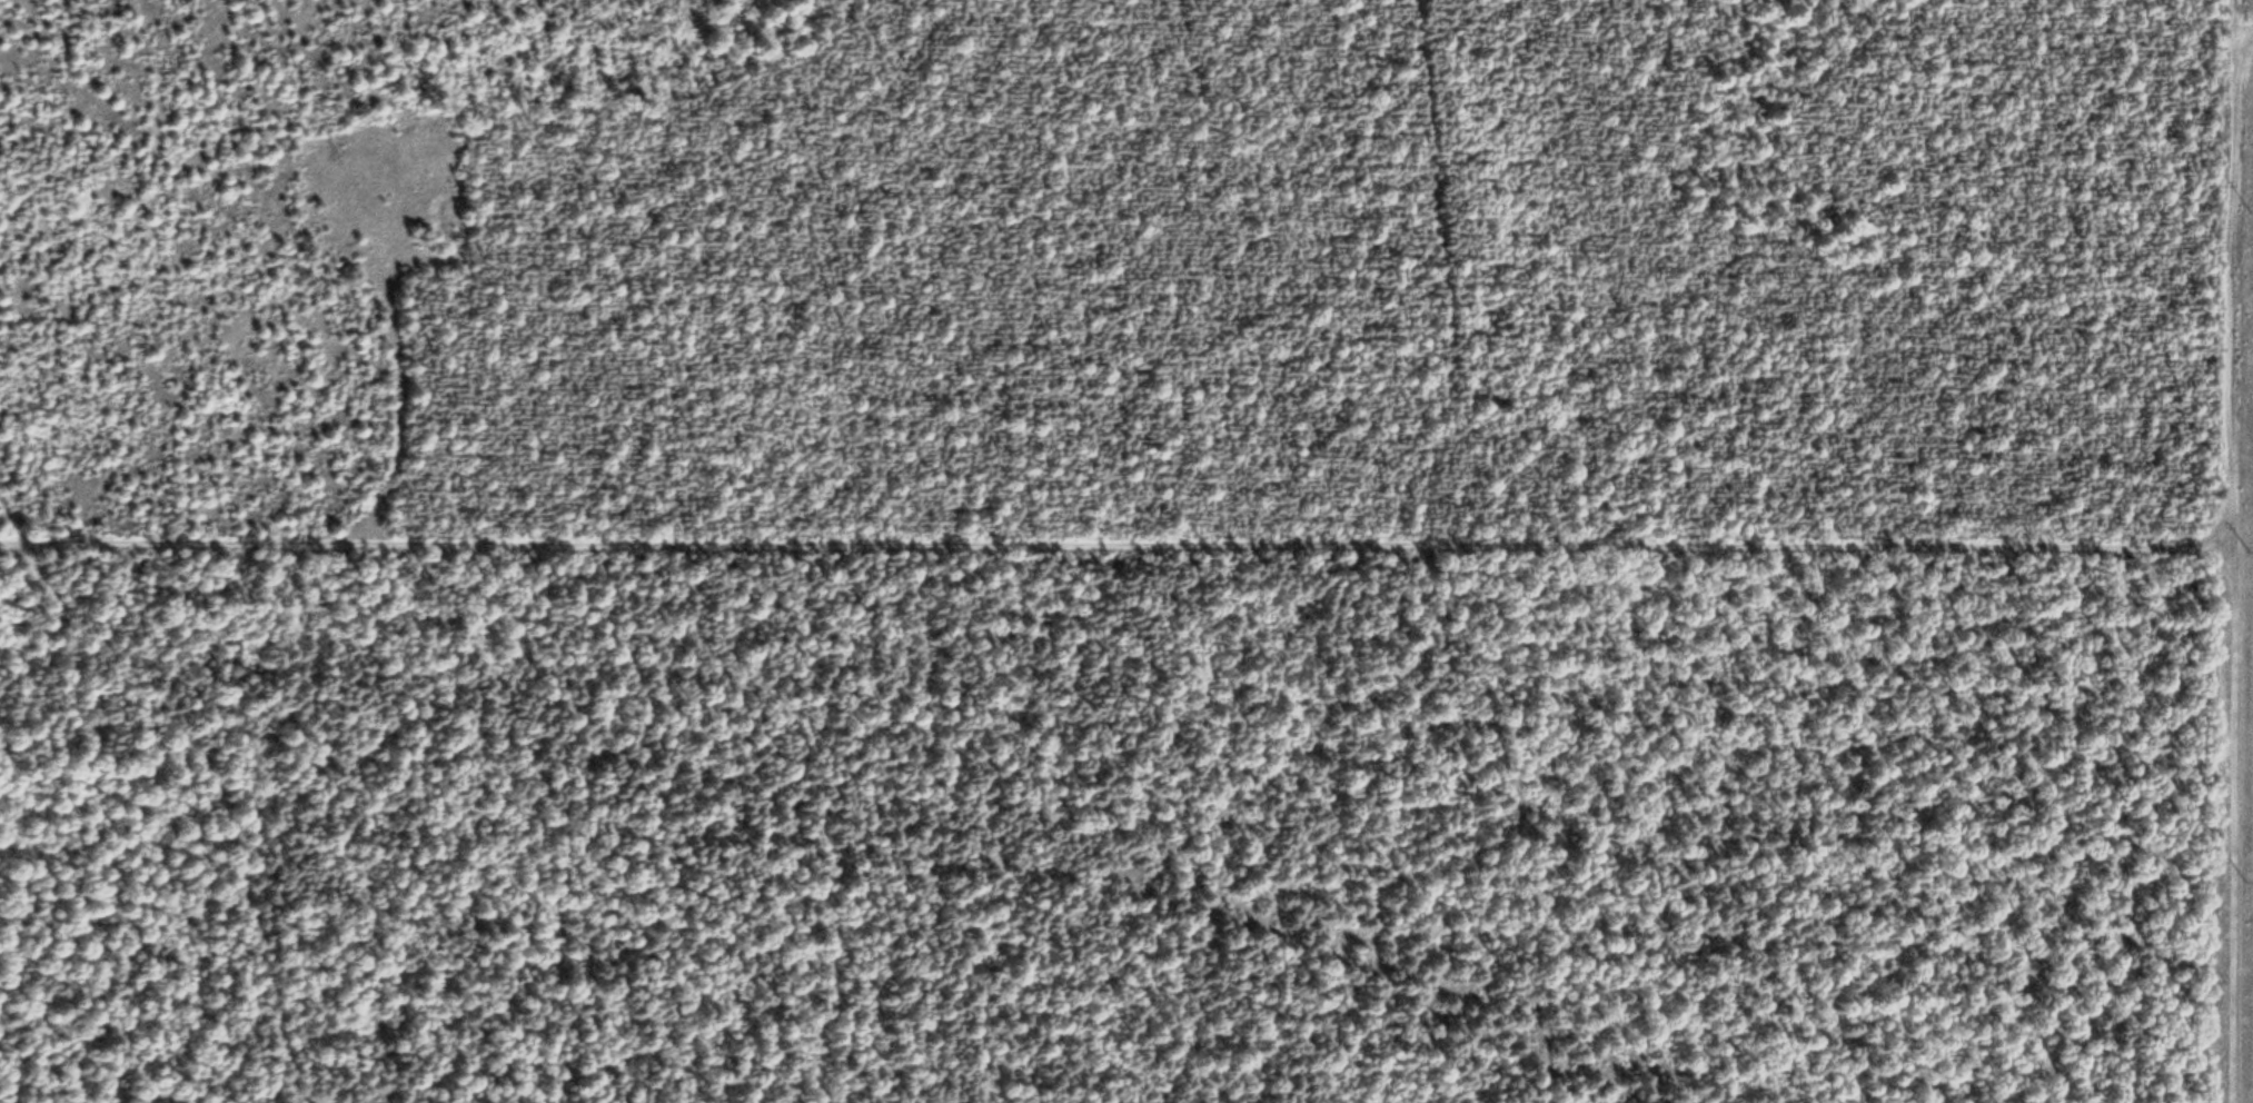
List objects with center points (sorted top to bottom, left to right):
road: (2242, 17)
road: (1110, 537)
road: (2221, 550)
road: (195, 768)

